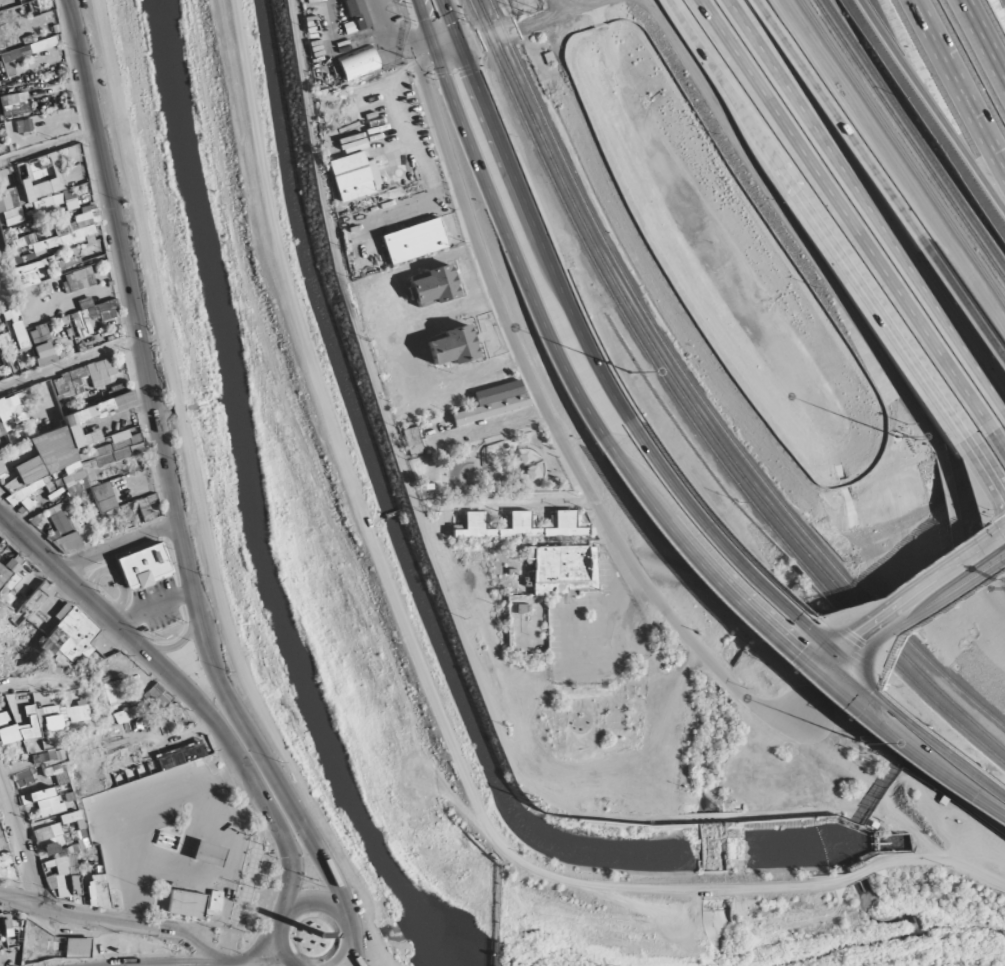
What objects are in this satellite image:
building: (356, 15)
road: (697, 24)
road: (520, 27)
road: (785, 34)
railway: (496, 37)
road: (764, 40)
road: (983, 41)
traffic signals: (460, 46)
traffic signals: (434, 54)
building: (357, 62)
road: (466, 67)
road: (453, 73)
road: (442, 74)
road: (432, 77)
road: (421, 80)
road: (958, 82)
building: (641, 90)
road: (931, 108)
railway: (917, 130)
railway: (911, 140)
road: (46, 142)
railway: (902, 151)
building: (353, 176)
road: (408, 205)
road: (907, 212)
road: (530, 218)
road: (856, 218)
road: (502, 227)
road: (472, 233)
road: (898, 236)
building: (413, 241)
road: (555, 246)
road: (858, 269)
building: (433, 284)
road: (140, 342)
building: (451, 347)
road: (70, 366)
railway: (698, 399)
building: (493, 402)
railway: (689, 415)
road: (492, 430)
building: (412, 440)
railway: (718, 441)
park: (500, 468)
road: (190, 497)
road: (195, 498)
river: (256, 505)
building: (519, 524)
road: (727, 538)
road: (118, 543)
building: (142, 568)
building: (565, 571)
road: (650, 591)
road: (899, 593)
building: (519, 606)
road: (154, 608)
parking lot: (156, 611)
road: (933, 621)
road: (908, 623)
road: (802, 631)
road: (180, 645)
traffic signals: (820, 647)
road: (855, 648)
road: (785, 656)
traffic signals: (843, 668)
traffic signals: (805, 674)
road: (25, 677)
road: (201, 711)
road: (895, 809)
road: (293, 812)
road: (139, 815)
gas station: (169, 841)
dam: (873, 843)
road: (16, 845)
road: (220, 871)
dam: (495, 916)
road: (112, 922)
river: (880, 938)
road: (264, 941)
road: (354, 956)
road: (344, 957)
road: (219, 965)

